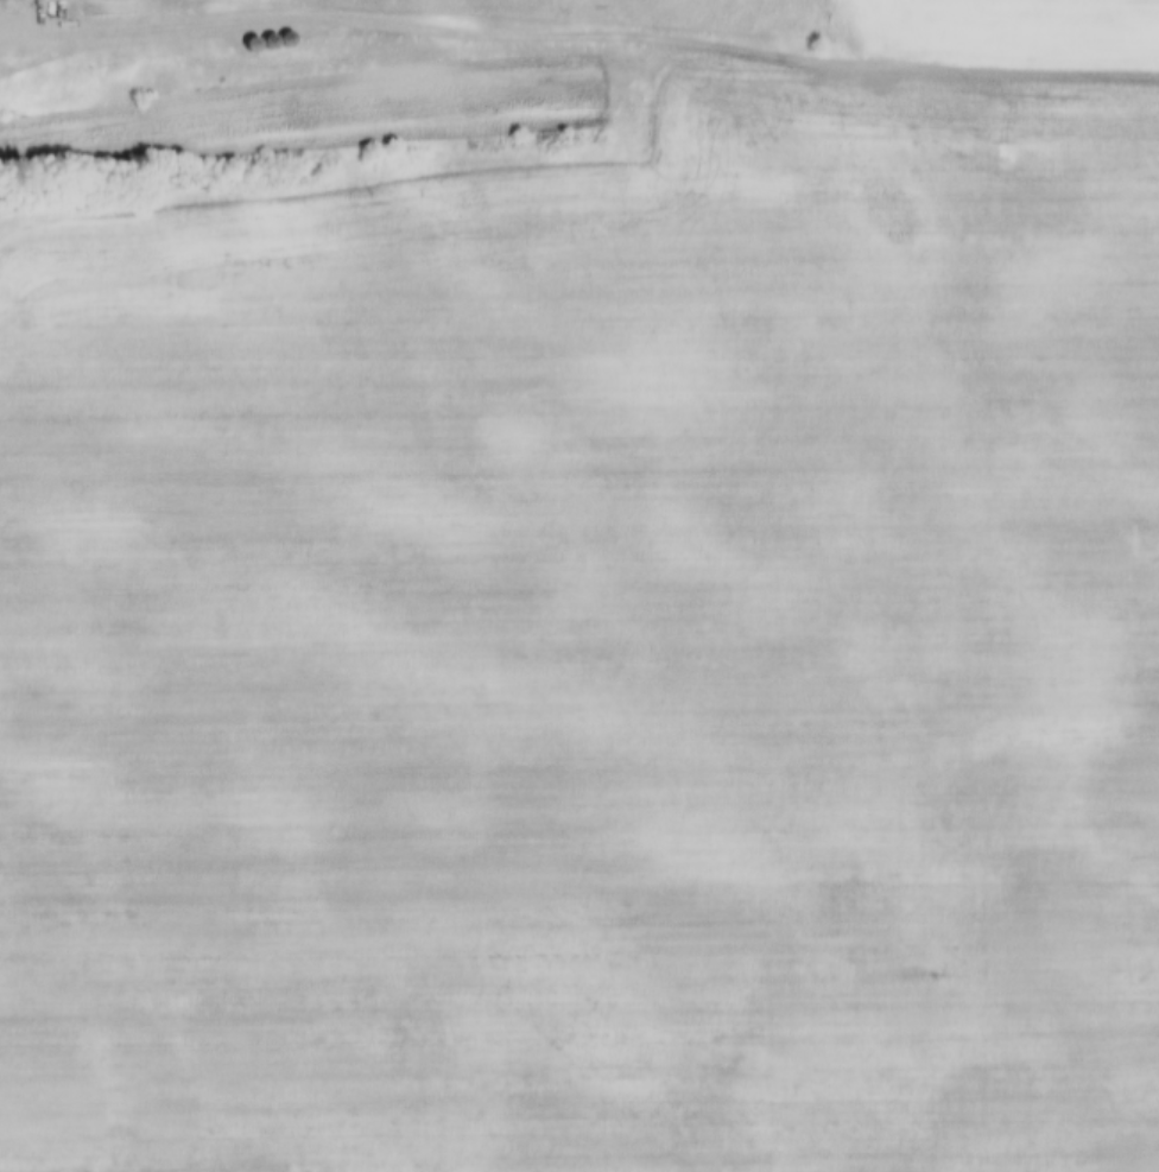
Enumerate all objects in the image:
road: (126, 21)
building: (275, 28)
building: (259, 30)
building: (241, 34)
road: (705, 34)

